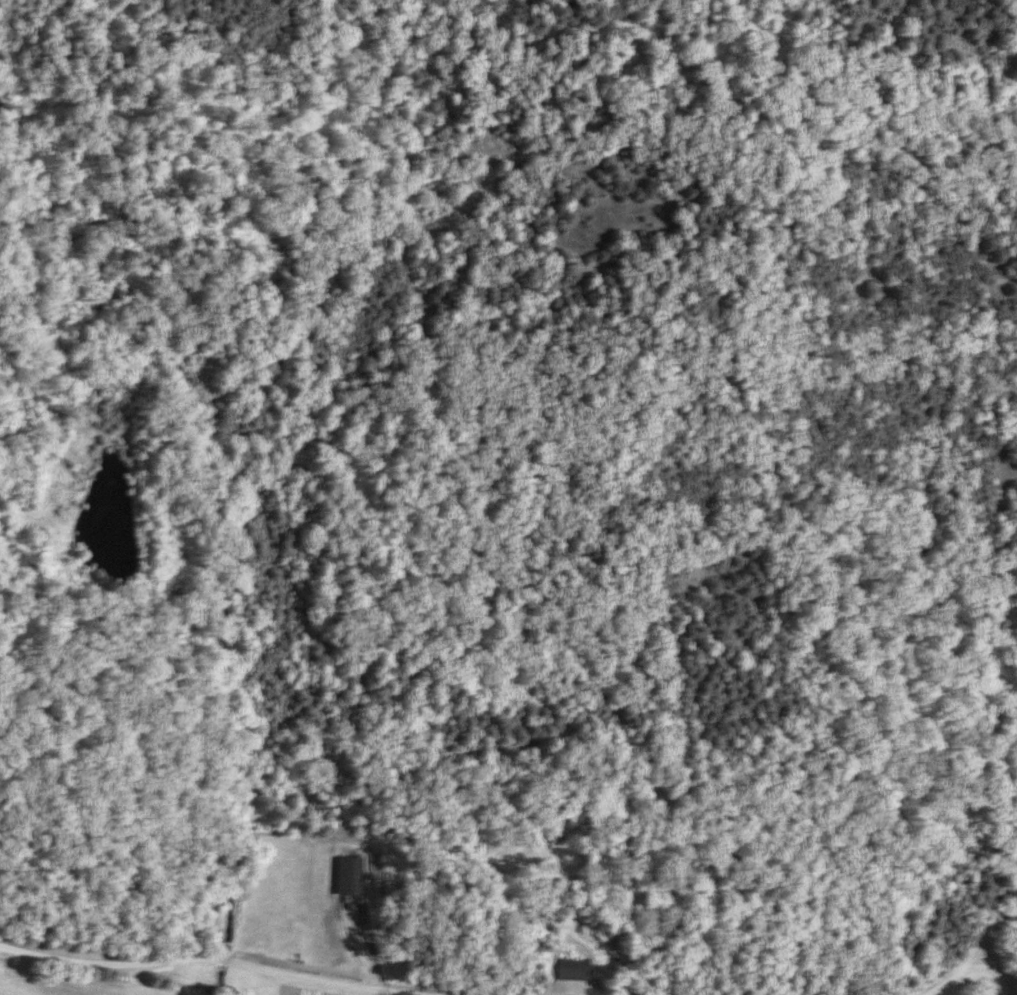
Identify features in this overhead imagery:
road: (976, 951)
building: (573, 969)
road: (222, 970)
road: (990, 973)

